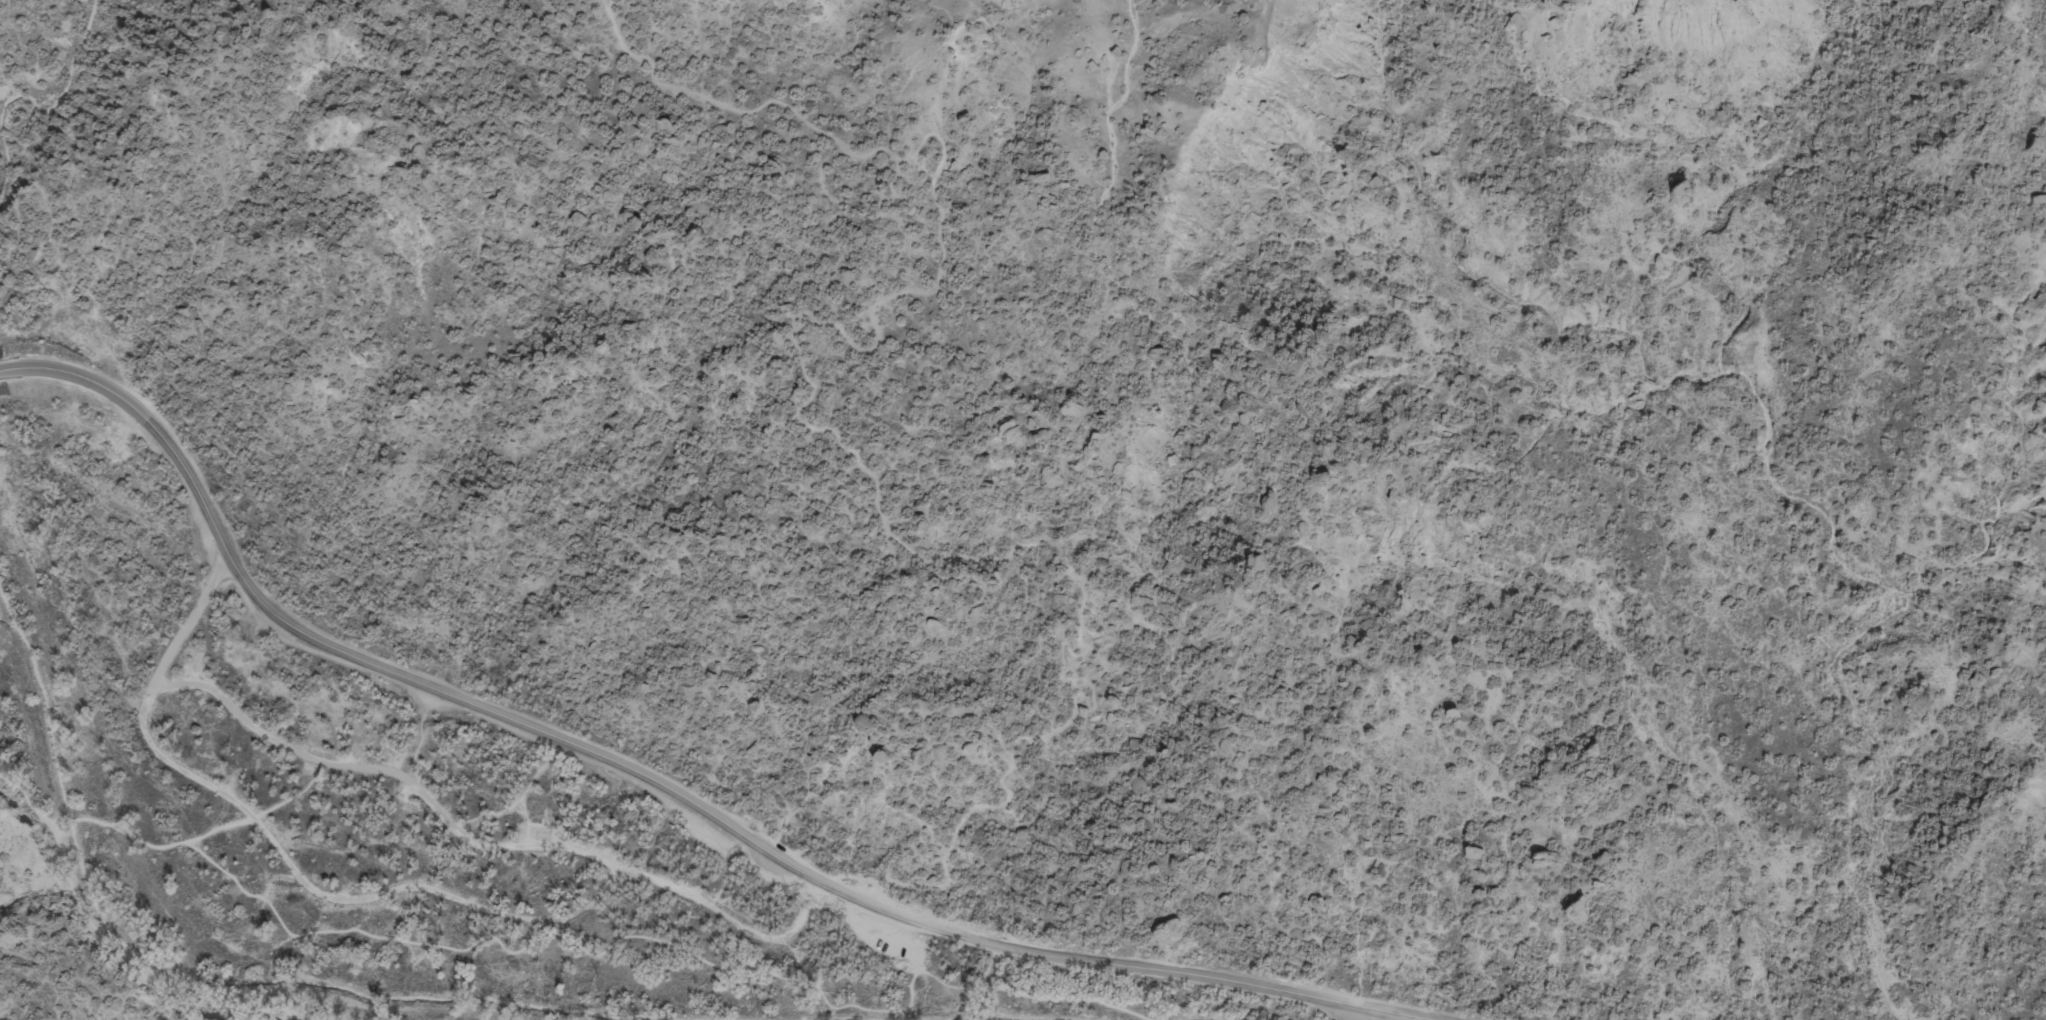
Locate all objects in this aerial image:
road: (833, 435)
road: (663, 787)
building: (535, 808)
road: (70, 821)
road: (51, 824)
road: (487, 842)
road: (278, 850)
road: (618, 941)
road: (113, 951)
river: (201, 989)
river: (983, 1015)
river: (835, 1018)

